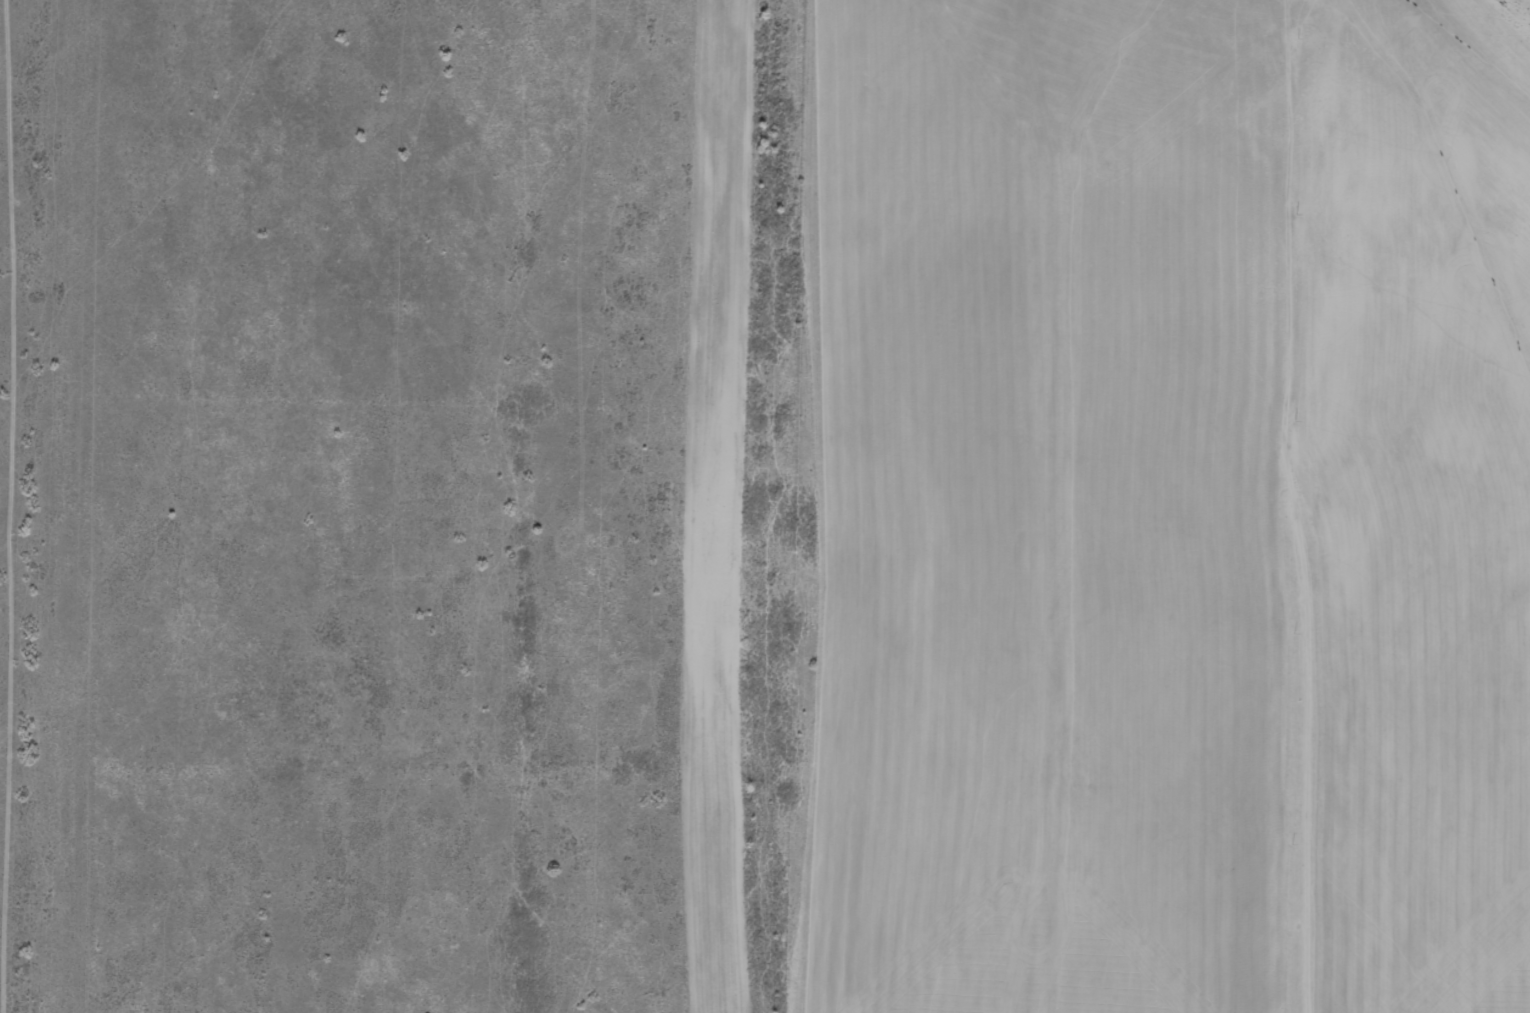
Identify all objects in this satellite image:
road: (1316, 505)
road: (797, 506)

